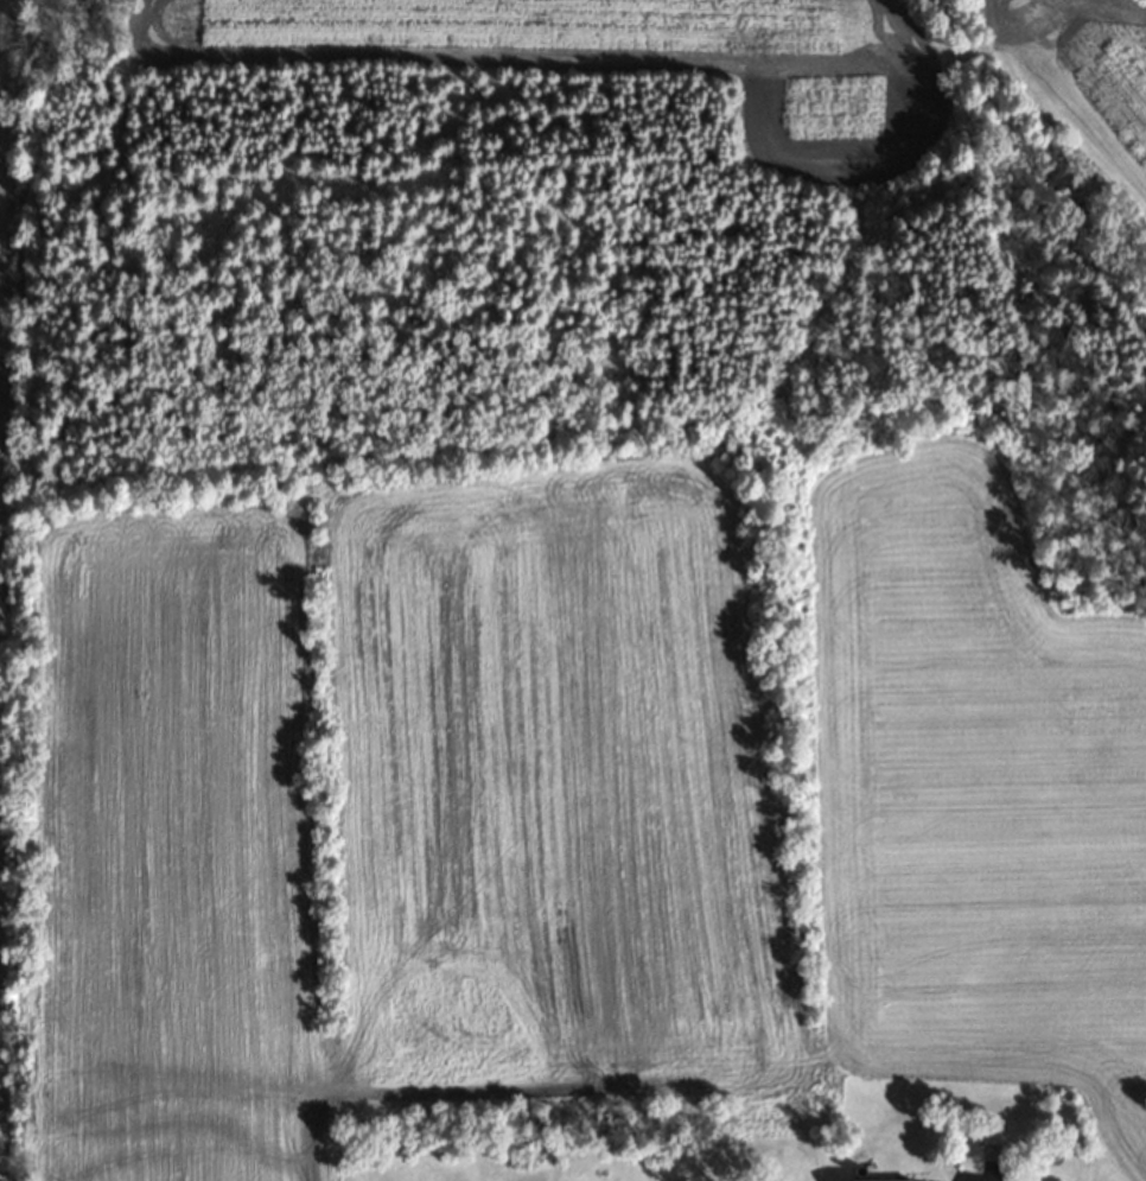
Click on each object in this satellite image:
building: (876, 1180)

